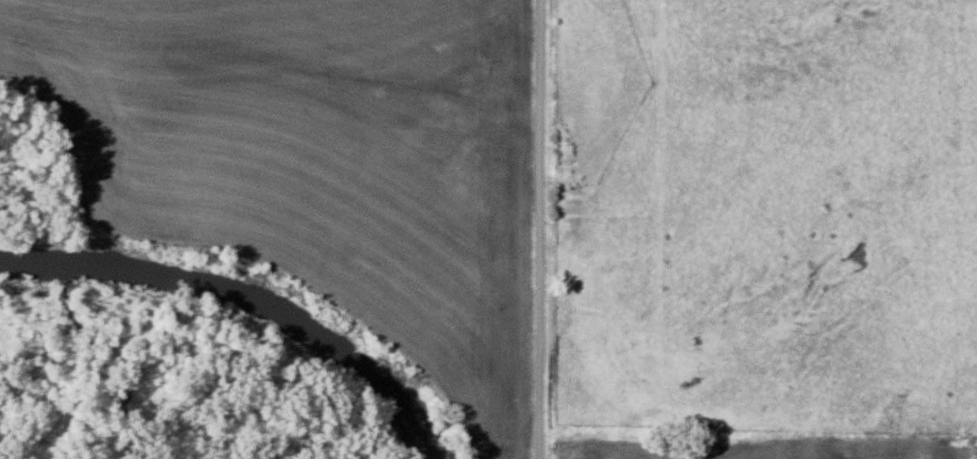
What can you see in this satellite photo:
road: (551, 229)

